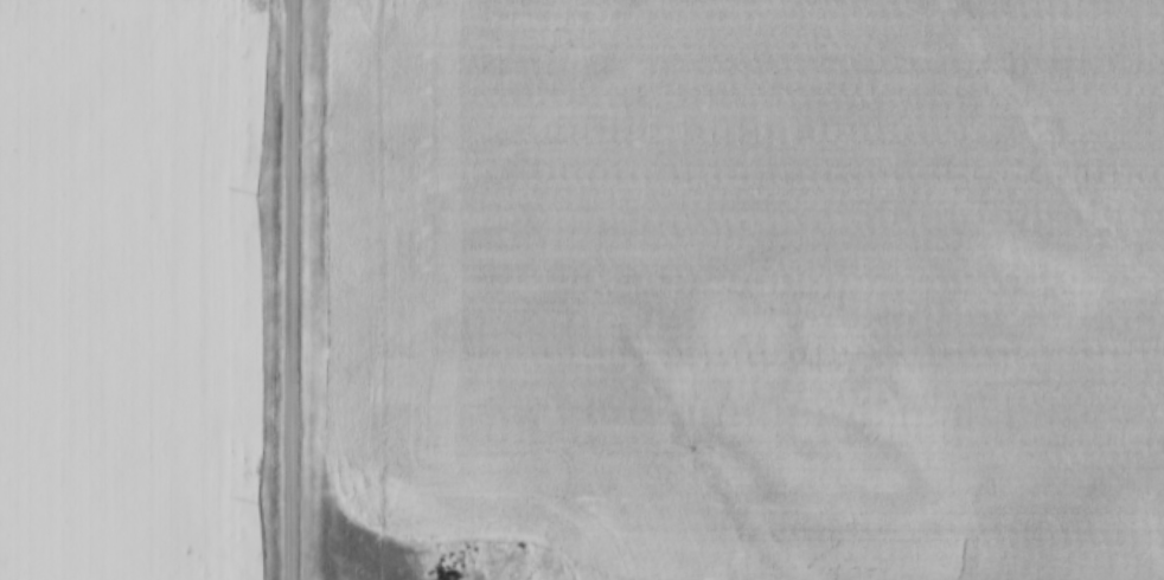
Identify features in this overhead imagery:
road: (289, 290)

